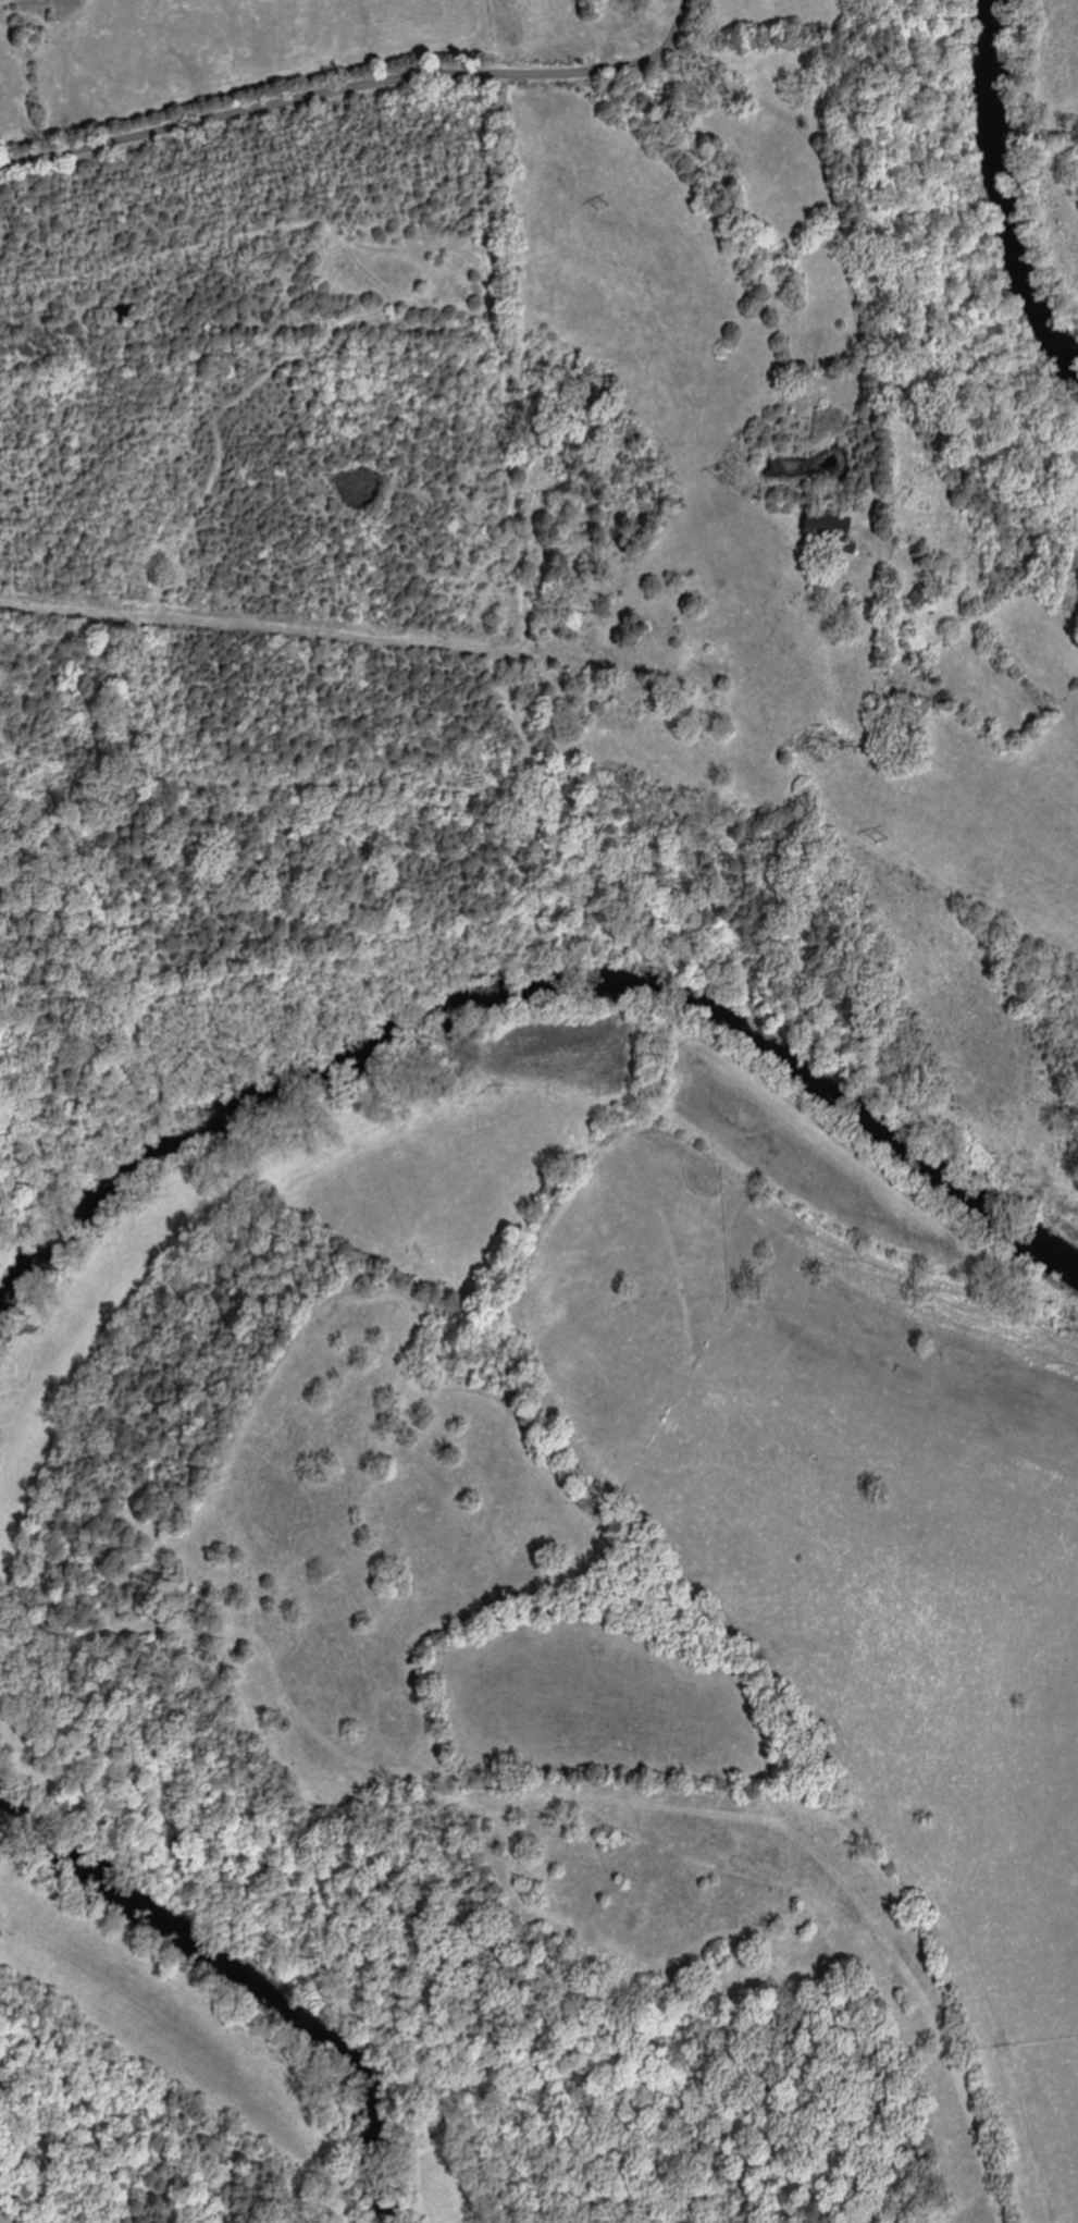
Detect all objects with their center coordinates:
road: (358, 88)
power tower: (605, 205)
road: (875, 315)
power tower: (726, 472)
building: (832, 526)
power tower: (880, 837)

